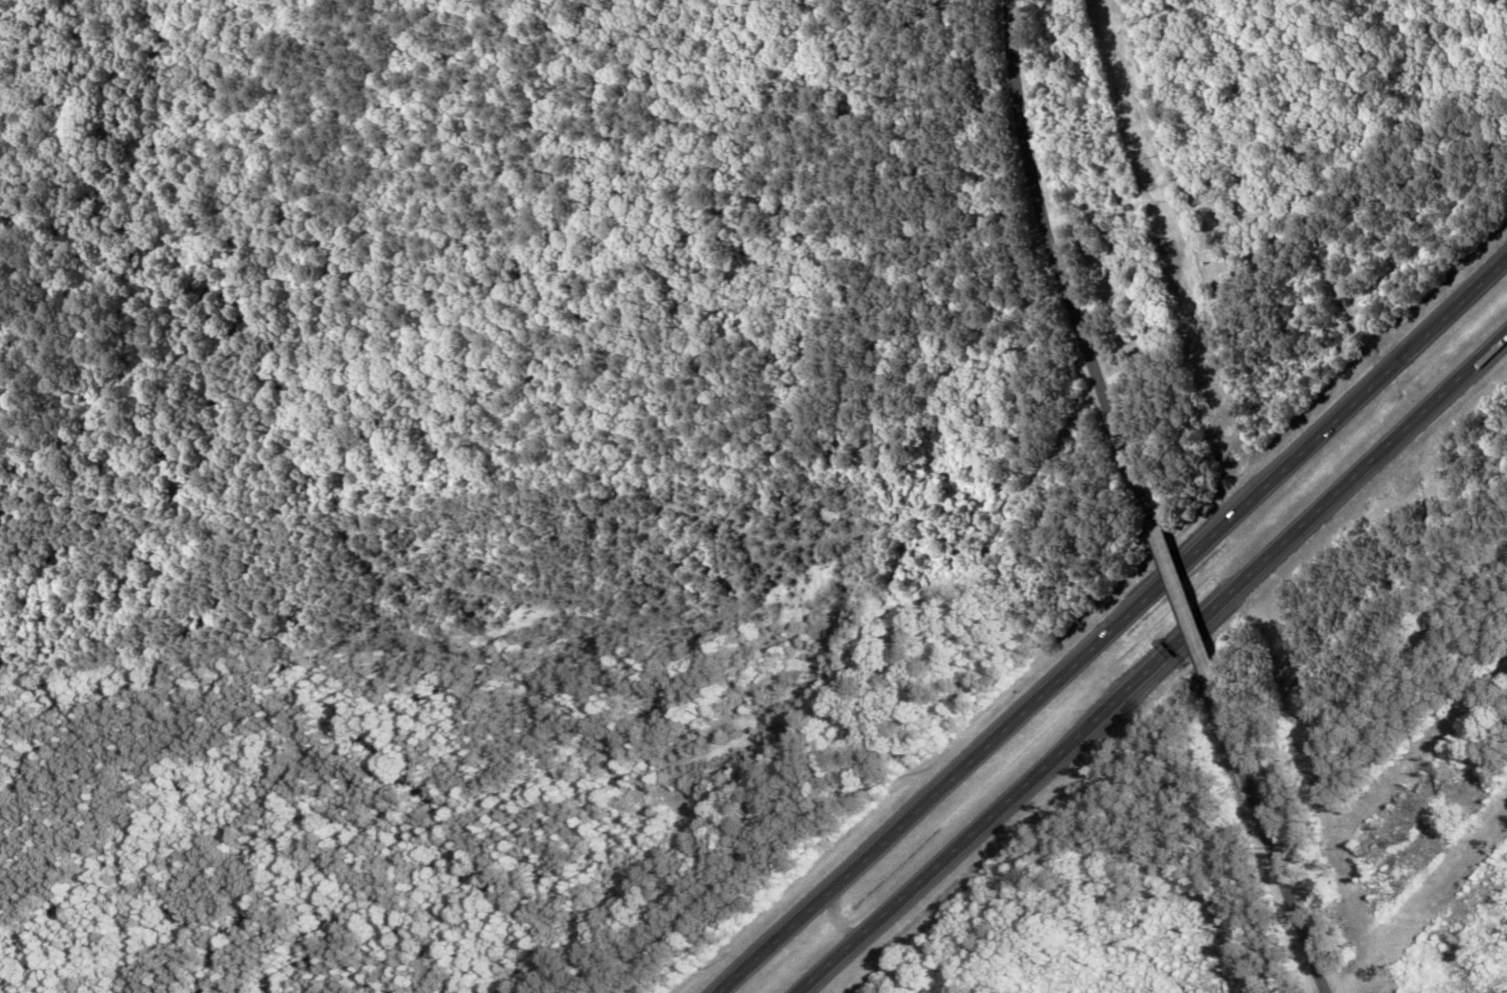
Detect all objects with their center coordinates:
road: (1063, 262)
road: (1183, 602)
road: (597, 625)
road: (1115, 626)
road: (1154, 663)
road: (1385, 695)
road: (1273, 840)

